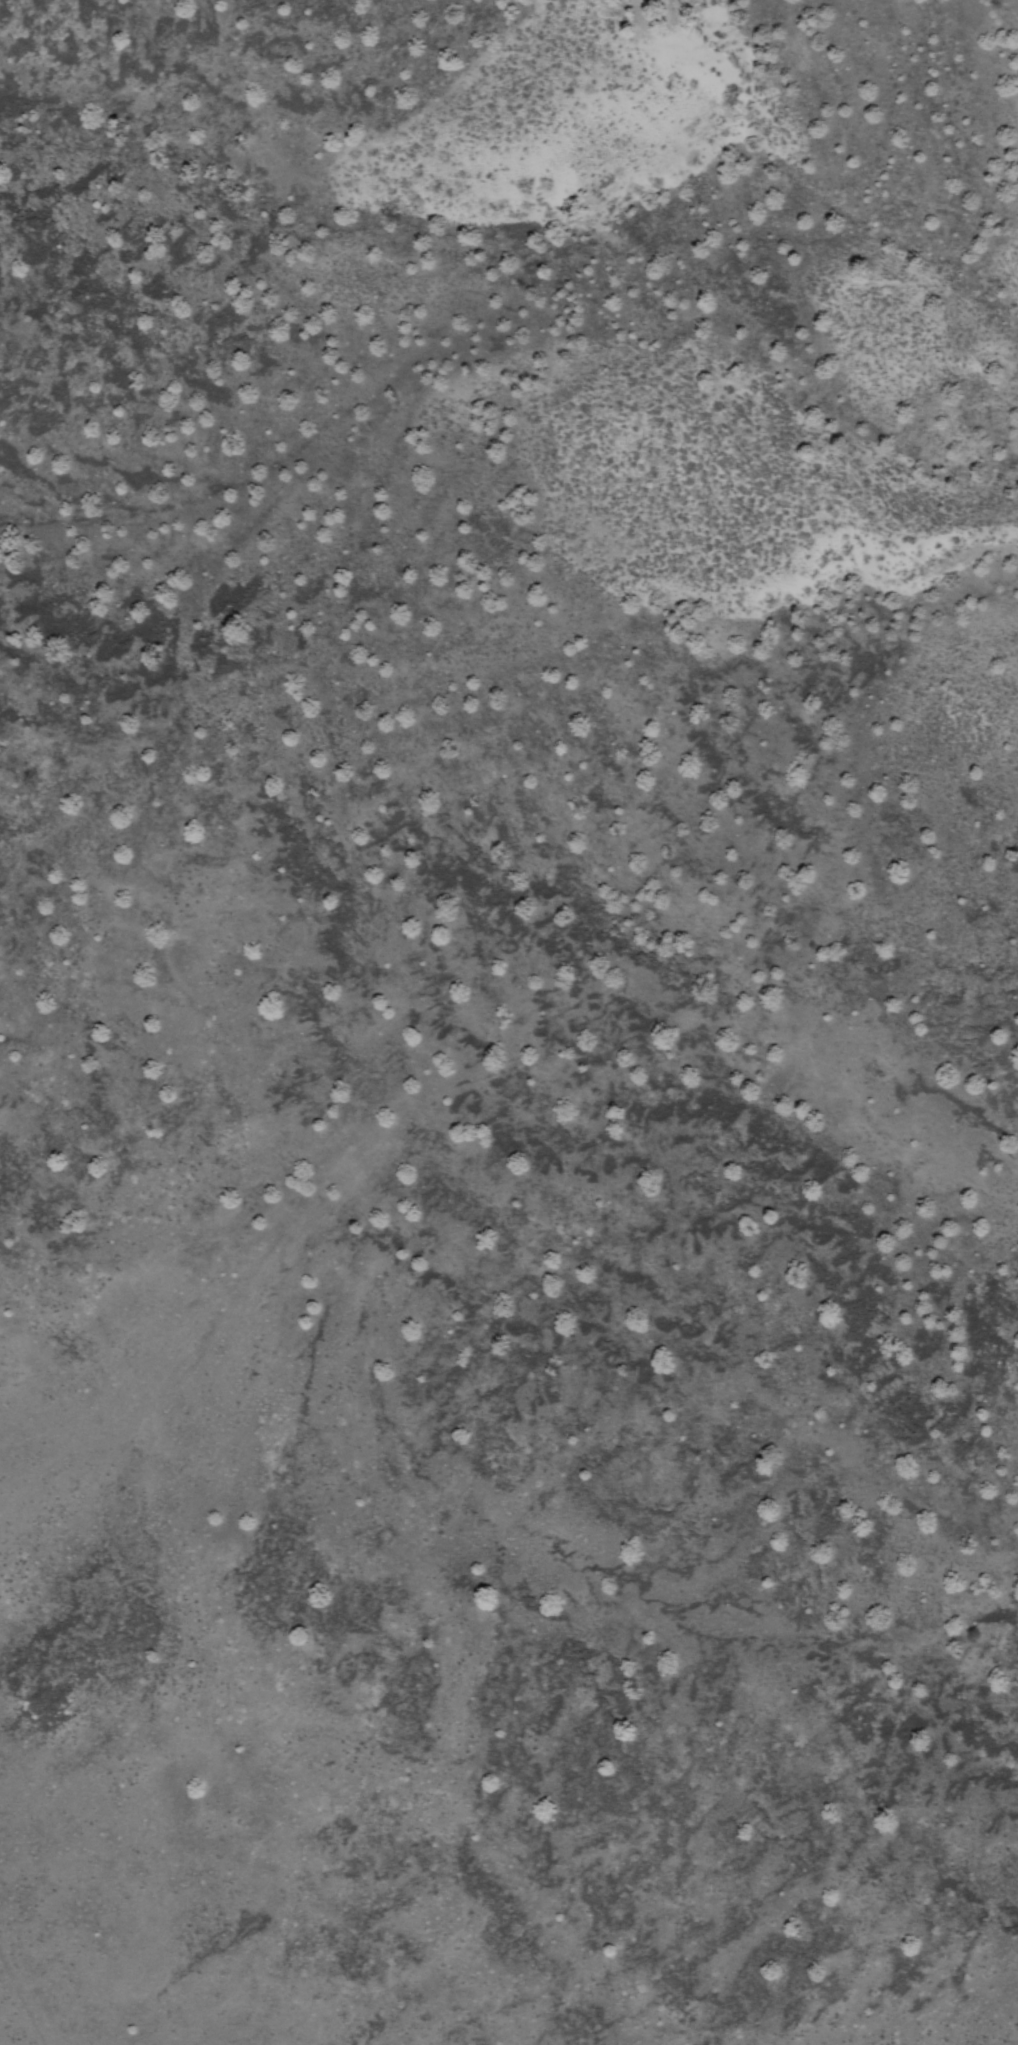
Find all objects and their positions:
road: (24, 1998)

